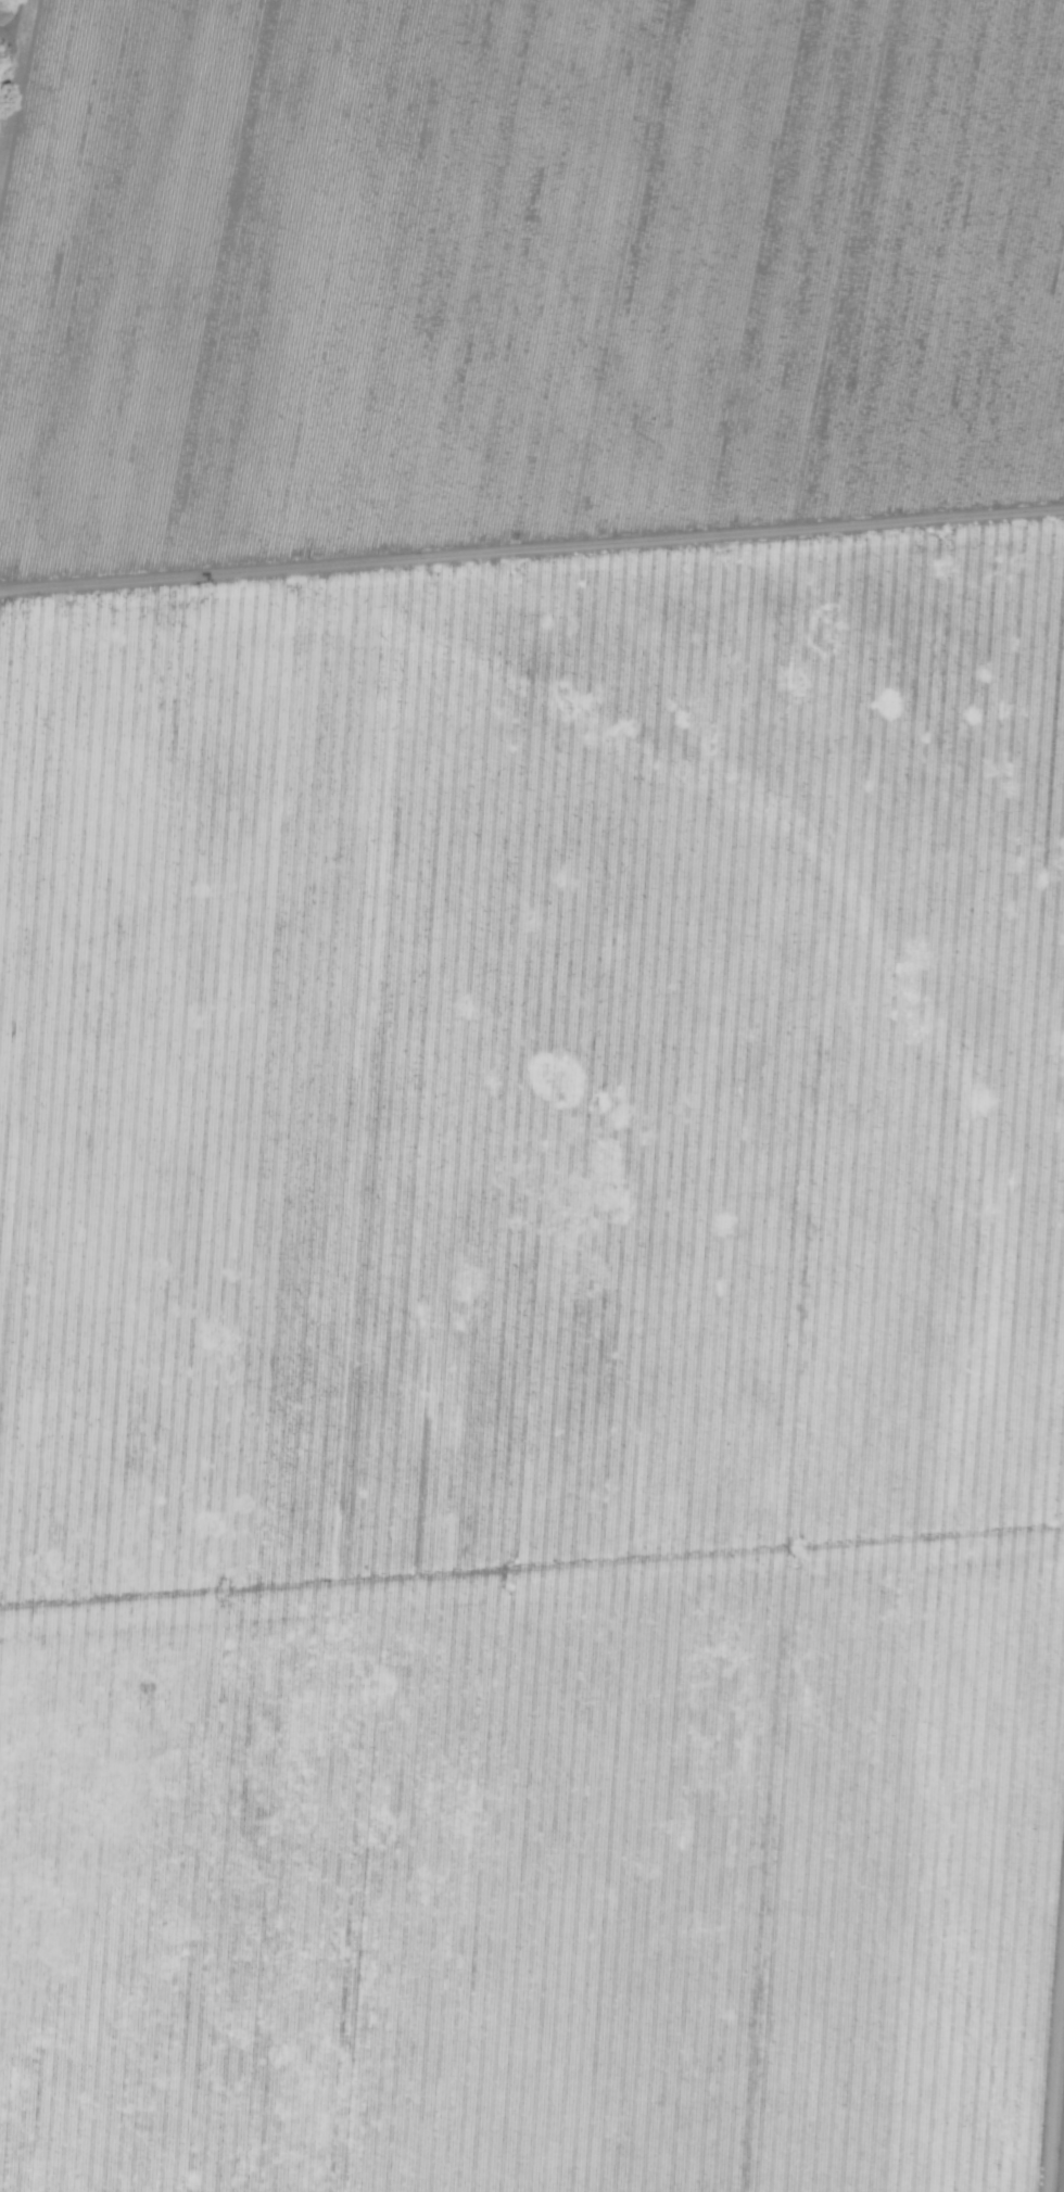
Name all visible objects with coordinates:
road: (11, 22)
road: (8, 45)
road: (10, 69)
crop: (532, 1095)

